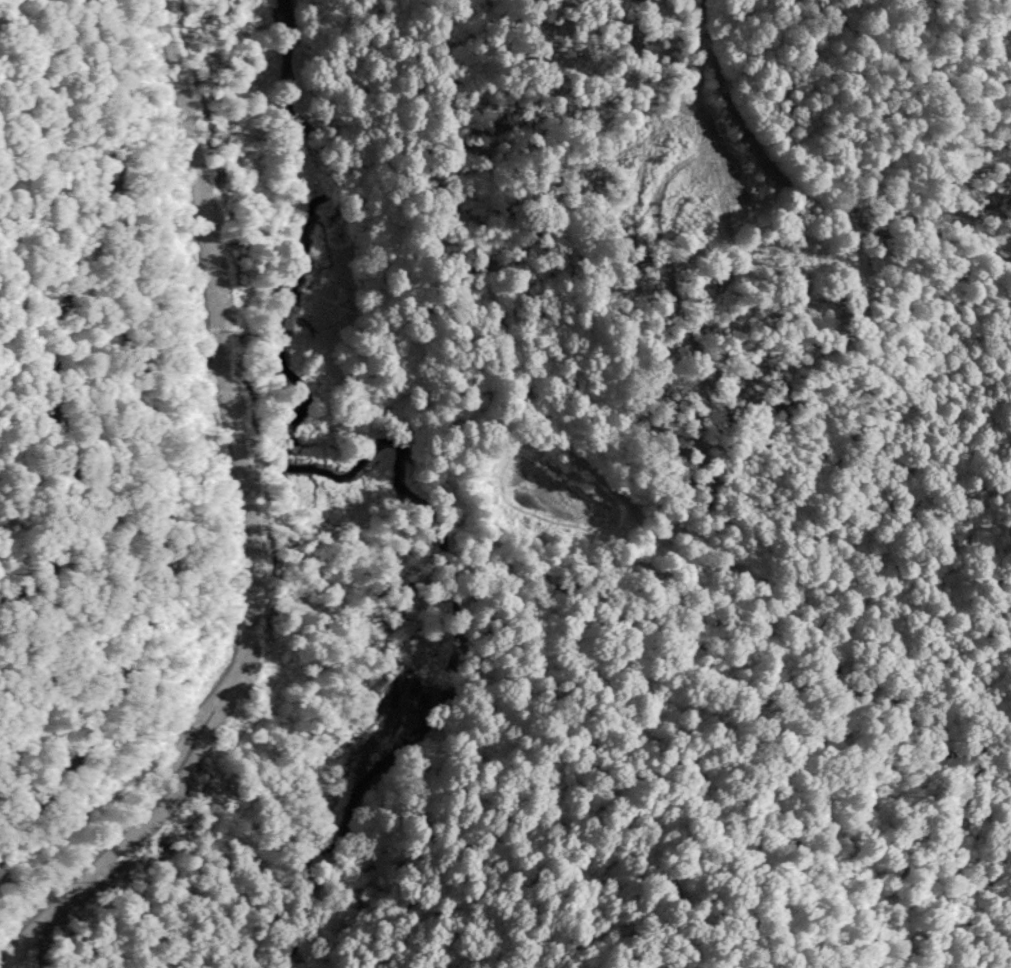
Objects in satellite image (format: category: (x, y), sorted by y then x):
railway: (808, 182)
railway: (398, 874)

